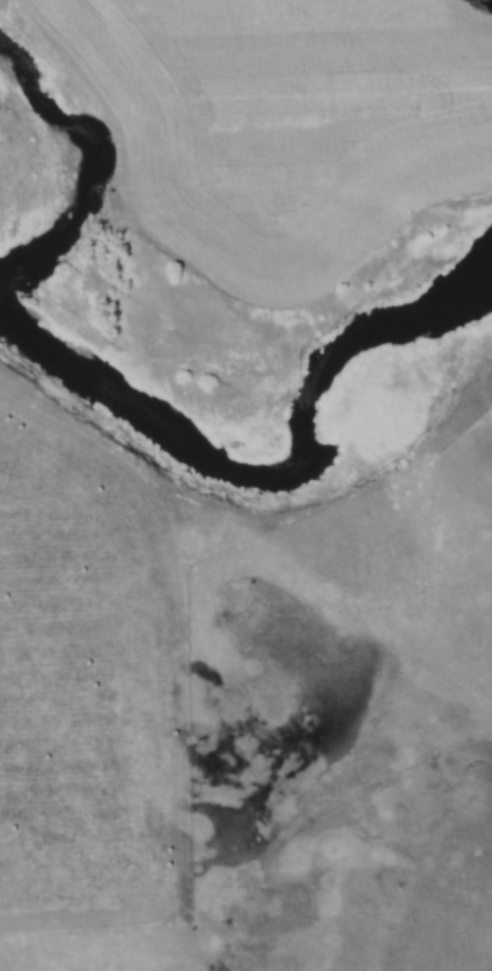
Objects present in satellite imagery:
river: (91, 151)
river: (276, 465)

